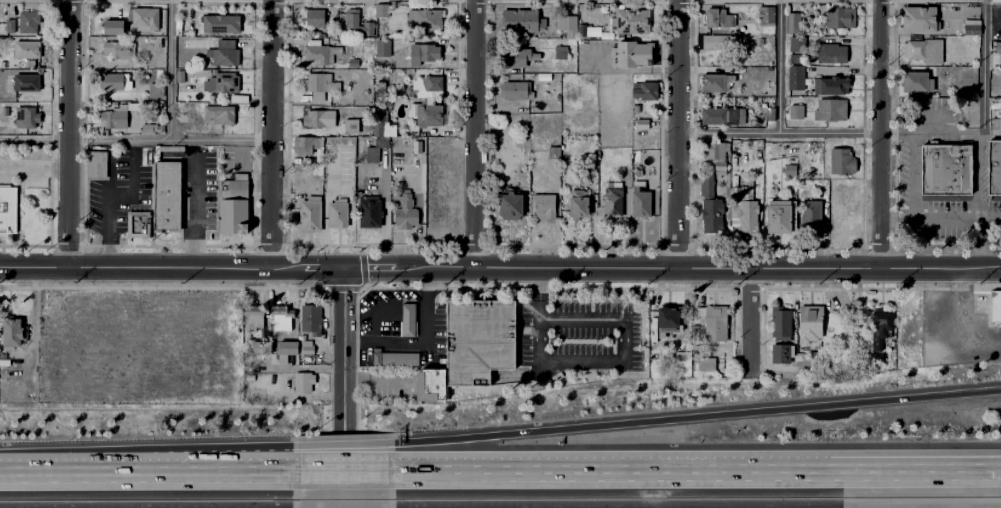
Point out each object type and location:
building: (381, 11)
building: (317, 17)
building: (714, 17)
building: (766, 17)
building: (841, 18)
building: (148, 19)
building: (189, 19)
building: (425, 19)
building: (918, 19)
building: (30, 22)
building: (631, 22)
building: (791, 22)
building: (221, 24)
building: (527, 24)
building: (11, 26)
building: (357, 26)
building: (568, 26)
building: (2, 27)
building: (971, 27)
building: (112, 28)
building: (581, 31)
building: (592, 33)
building: (358, 43)
building: (719, 43)
building: (795, 45)
building: (998, 48)
building: (27, 50)
building: (118, 50)
building: (924, 51)
building: (323, 53)
building: (390, 53)
building: (423, 53)
building: (560, 53)
building: (224, 54)
building: (629, 54)
building: (832, 54)
building: (518, 58)
building: (796, 60)
building: (354, 64)
road: (778, 66)
road: (173, 69)
road: (632, 70)
building: (199, 72)
building: (160, 73)
building: (796, 78)
building: (26, 82)
building: (187, 82)
building: (916, 82)
building: (118, 83)
building: (222, 83)
building: (714, 84)
building: (320, 86)
building: (831, 86)
building: (428, 87)
building: (380, 89)
building: (515, 90)
building: (156, 91)
building: (645, 91)
building: (238, 97)
road: (614, 103)
building: (634, 109)
road: (982, 109)
building: (830, 110)
building: (411, 111)
building: (796, 112)
building: (770, 114)
building: (220, 115)
building: (429, 116)
road: (920, 116)
building: (27, 117)
building: (722, 117)
building: (114, 118)
building: (319, 119)
building: (654, 123)
building: (350, 125)
building: (642, 125)
building: (147, 129)
road: (677, 132)
road: (271, 133)
road: (474, 133)
road: (778, 133)
road: (880, 133)
road: (68, 134)
road: (897, 134)
road: (957, 134)
road: (34, 138)
road: (169, 139)
building: (380, 140)
building: (404, 140)
building: (394, 141)
building: (307, 147)
building: (416, 147)
building: (779, 149)
building: (716, 150)
building: (553, 153)
building: (841, 162)
building: (96, 163)
parking lot: (25, 167)
road: (34, 167)
building: (789, 167)
building: (338, 169)
building: (994, 169)
building: (317, 170)
building: (945, 170)
building: (521, 174)
road: (914, 176)
building: (707, 184)
building: (233, 186)
building: (639, 186)
parking lot: (117, 192)
road: (107, 197)
building: (167, 197)
building: (612, 199)
building: (641, 204)
building: (510, 206)
building: (578, 206)
building: (544, 207)
building: (712, 209)
building: (744, 209)
road: (193, 210)
building: (7, 211)
building: (405, 213)
building: (310, 215)
building: (370, 215)
building: (339, 216)
building: (232, 217)
building: (809, 217)
building: (780, 218)
road: (896, 218)
road: (957, 219)
building: (137, 223)
road: (981, 243)
road: (674, 266)
road: (173, 267)
road: (539, 280)
building: (995, 306)
building: (904, 315)
building: (282, 320)
building: (252, 321)
building: (310, 321)
building: (408, 321)
building: (669, 321)
road: (749, 321)
building: (879, 321)
road: (32, 324)
building: (716, 325)
building: (781, 325)
building: (810, 325)
parking lot: (579, 328)
building: (10, 331)
road: (422, 340)
building: (478, 340)
building: (262, 348)
building: (287, 348)
building: (306, 348)
building: (903, 353)
building: (780, 354)
building: (396, 359)
building: (682, 359)
road: (611, 361)
building: (721, 361)
building: (707, 364)
building: (815, 365)
building: (303, 383)
building: (430, 386)
road: (348, 387)
road: (697, 417)
road: (347, 453)
road: (984, 464)
road: (265, 466)
road: (775, 471)
road: (984, 471)
road: (73, 472)
road: (188, 472)
road: (261, 472)
road: (343, 472)
road: (487, 472)

